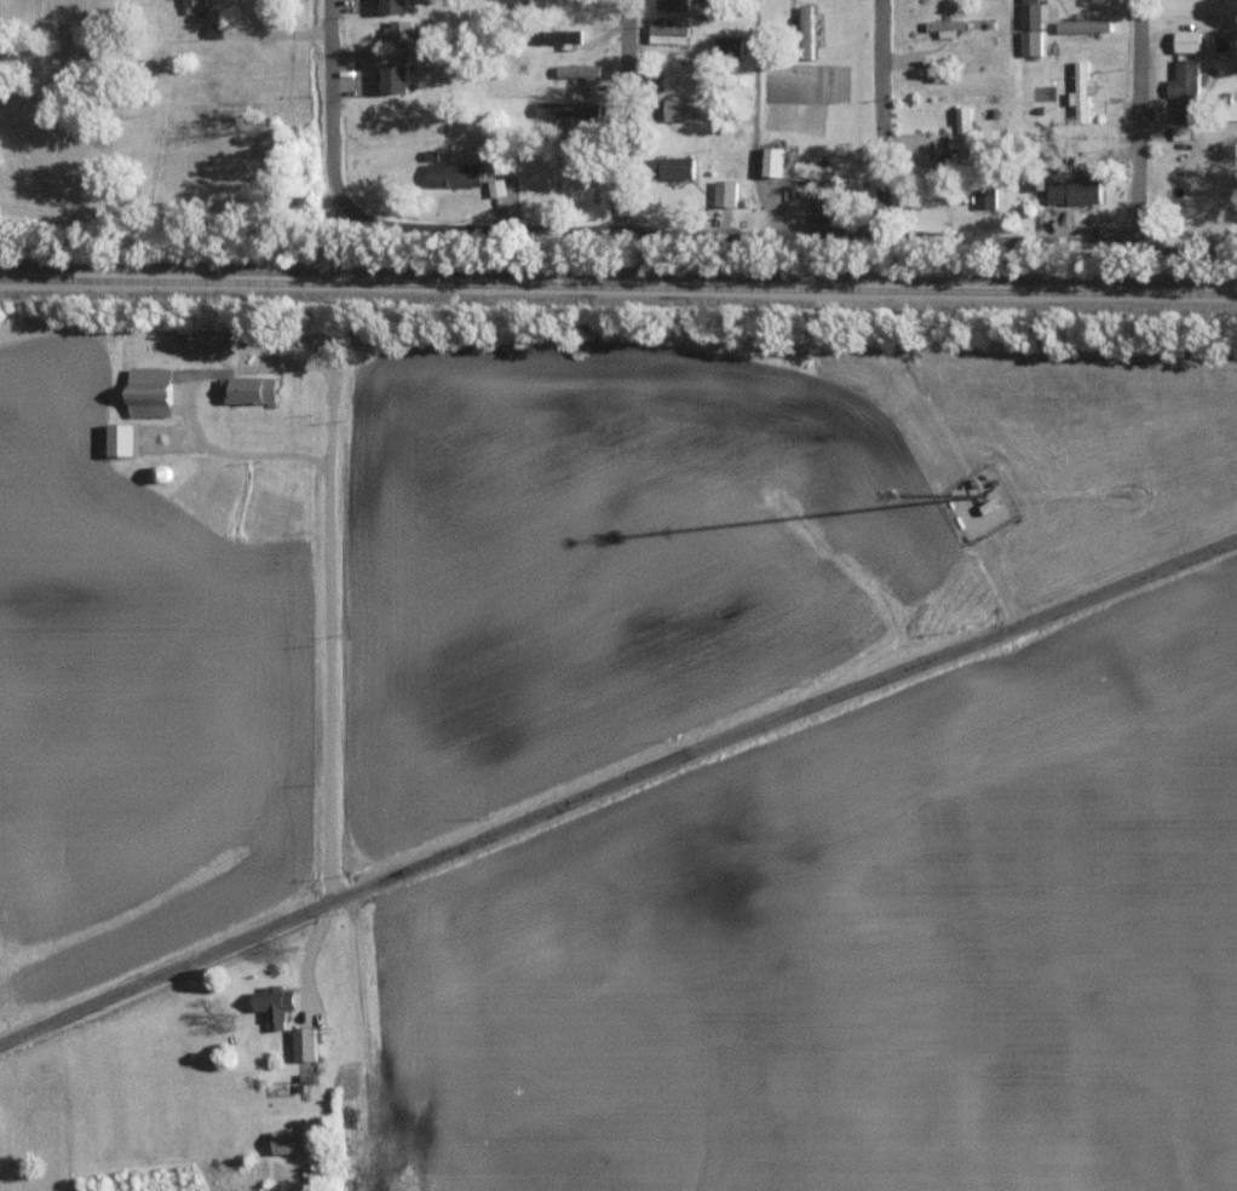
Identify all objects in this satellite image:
building: (673, 4)
building: (194, 5)
building: (395, 5)
building: (1035, 12)
building: (1084, 24)
building: (945, 27)
building: (399, 30)
building: (806, 31)
building: (668, 33)
building: (556, 35)
building: (1187, 40)
building: (1031, 41)
building: (730, 45)
building: (581, 71)
building: (395, 76)
building: (1185, 88)
building: (1082, 91)
road: (332, 107)
building: (568, 109)
building: (678, 110)
road: (623, 113)
road: (882, 116)
road: (1134, 121)
building: (1180, 132)
building: (962, 134)
building: (772, 161)
building: (674, 167)
building: (455, 173)
building: (496, 186)
building: (1075, 191)
building: (726, 192)
road: (792, 230)
railway: (618, 282)
building: (248, 389)
building: (149, 391)
building: (121, 439)
building: (979, 495)
road: (335, 618)
road: (618, 798)
building: (275, 1005)
building: (304, 1043)
building: (289, 1140)

